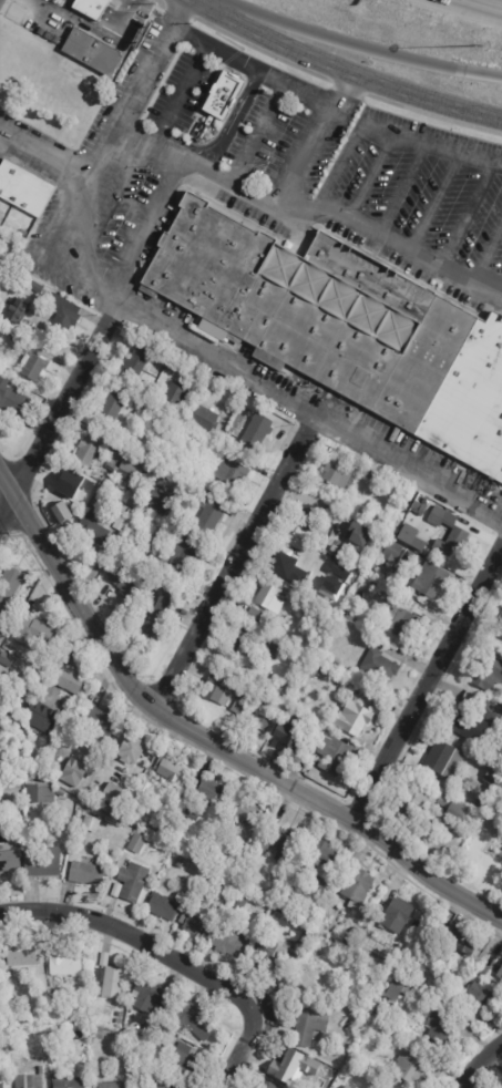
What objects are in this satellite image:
road: (195, 2)
road: (492, 2)
road: (157, 3)
building: (91, 7)
road: (177, 12)
road: (93, 31)
road: (349, 43)
building: (91, 51)
road: (259, 51)
road: (250, 66)
road: (346, 71)
road: (348, 88)
building: (227, 91)
parking lot: (173, 92)
road: (178, 93)
road: (432, 116)
road: (112, 130)
road: (1, 133)
road: (257, 133)
parking lot: (265, 136)
road: (311, 138)
road: (431, 144)
road: (339, 165)
road: (370, 177)
parking lot: (420, 184)
building: (23, 188)
road: (401, 189)
road: (434, 203)
road: (111, 207)
parking lot: (127, 211)
road: (308, 212)
road: (467, 216)
road: (144, 225)
road: (486, 254)
building: (34, 286)
building: (17, 311)
building: (62, 312)
building: (344, 327)
building: (17, 339)
building: (135, 362)
road: (227, 362)
building: (33, 366)
building: (172, 396)
building: (13, 401)
building: (112, 408)
building: (143, 409)
road: (59, 410)
building: (203, 419)
building: (257, 431)
building: (188, 437)
building: (85, 452)
building: (130, 464)
building: (230, 472)
building: (367, 473)
building: (339, 475)
building: (71, 491)
building: (160, 500)
building: (96, 502)
building: (130, 502)
building: (420, 509)
building: (211, 510)
building: (130, 513)
building: (440, 516)
building: (308, 517)
building: (120, 524)
building: (94, 528)
building: (171, 530)
building: (357, 535)
building: (410, 536)
building: (452, 542)
road: (500, 547)
building: (182, 550)
building: (390, 551)
road: (236, 560)
building: (319, 560)
building: (413, 560)
building: (286, 561)
building: (430, 579)
building: (125, 583)
building: (8, 593)
building: (370, 594)
building: (269, 598)
building: (391, 599)
building: (313, 613)
building: (161, 615)
building: (256, 617)
building: (501, 618)
building: (406, 624)
building: (31, 633)
building: (498, 636)
building: (240, 644)
building: (11, 648)
building: (270, 649)
building: (322, 657)
building: (6, 660)
building: (379, 665)
building: (334, 666)
building: (486, 673)
building: (71, 682)
road: (424, 686)
building: (217, 690)
building: (283, 690)
building: (297, 700)
building: (0, 705)
building: (239, 705)
building: (481, 706)
building: (39, 718)
building: (356, 718)
building: (98, 720)
building: (301, 721)
building: (262, 723)
building: (465, 726)
building: (21, 732)
road: (207, 738)
building: (53, 741)
building: (130, 749)
building: (335, 756)
building: (0, 758)
building: (154, 760)
building: (444, 760)
building: (168, 770)
building: (72, 771)
building: (7, 780)
building: (64, 782)
building: (488, 784)
building: (144, 789)
building: (58, 792)
building: (207, 793)
building: (244, 793)
building: (458, 793)
building: (39, 794)
building: (113, 796)
building: (413, 805)
building: (243, 812)
building: (130, 814)
building: (452, 814)
building: (90, 824)
building: (146, 829)
building: (428, 833)
building: (136, 843)
building: (279, 843)
building: (152, 846)
building: (219, 849)
building: (246, 849)
building: (163, 852)
building: (193, 855)
building: (319, 858)
building: (10, 861)
building: (42, 861)
building: (85, 874)
building: (320, 882)
building: (132, 883)
building: (357, 890)
building: (115, 891)
building: (269, 895)
building: (240, 904)
building: (162, 907)
building: (444, 913)
building: (275, 915)
building: (396, 916)
building: (144, 917)
building: (195, 925)
building: (352, 937)
road: (134, 938)
building: (229, 942)
building: (457, 943)
building: (368, 950)
building: (268, 954)
building: (22, 957)
building: (103, 959)
building: (64, 964)
building: (500, 975)
building: (110, 983)
building: (300, 985)
building: (396, 992)
building: (51, 993)
building: (1, 996)
building: (420, 996)
building: (478, 997)
building: (151, 998)
building: (13, 1014)
building: (192, 1023)
building: (90, 1024)
building: (309, 1027)
building: (440, 1028)
building: (99, 1036)
building: (391, 1036)
building: (95, 1046)
road: (238, 1047)
building: (54, 1055)
building: (183, 1060)
road: (478, 1063)
building: (352, 1064)
building: (434, 1064)
building: (296, 1070)
building: (409, 1070)
building: (39, 1071)
building: (28, 1081)
building: (65, 1082)
building: (172, 1085)
building: (265, 1085)
building: (1, 1086)
building: (109, 1086)
building: (327, 1086)

